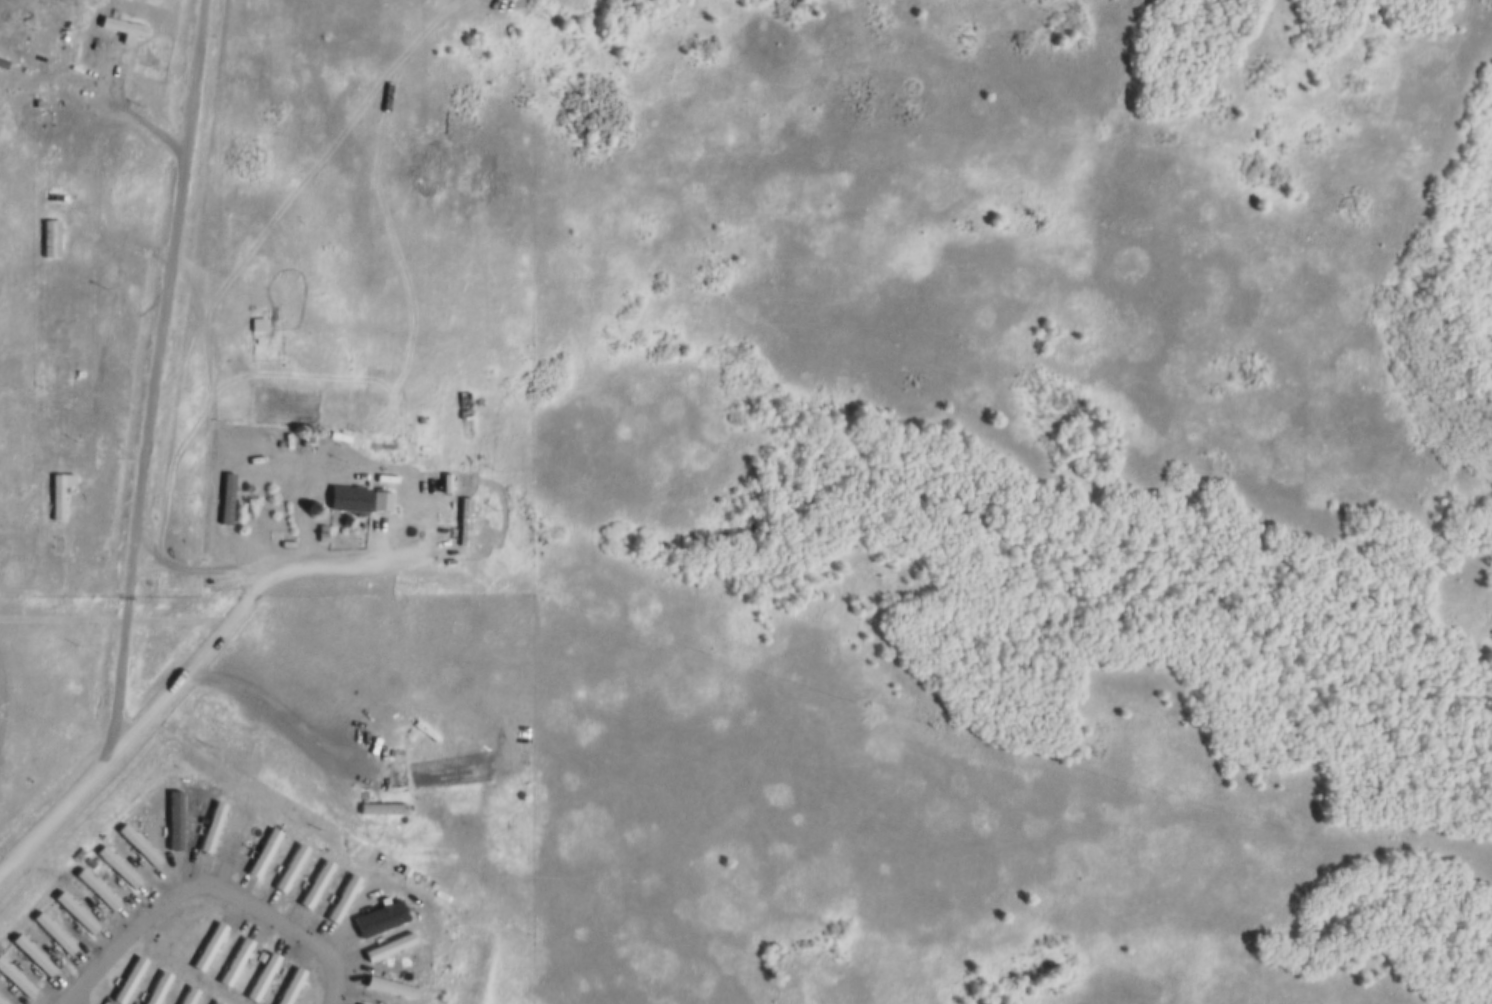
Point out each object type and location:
building: (120, 25)
building: (1, 63)
building: (48, 239)
building: (254, 324)
road: (150, 386)
building: (465, 407)
building: (337, 435)
building: (379, 445)
building: (384, 477)
building: (57, 492)
building: (347, 496)
building: (379, 500)
building: (462, 520)
road: (236, 619)
road: (120, 624)
building: (379, 809)
building: (173, 817)
building: (209, 825)
road: (52, 827)
building: (137, 845)
building: (260, 852)
building: (115, 867)
building: (287, 867)
building: (312, 883)
building: (94, 891)
building: (339, 899)
building: (74, 913)
building: (376, 919)
building: (52, 933)
building: (386, 947)
building: (205, 948)
building: (30, 956)
building: (231, 963)
building: (258, 978)
building: (126, 980)
building: (14, 981)
building: (287, 986)
building: (155, 988)
building: (388, 988)
building: (186, 996)
building: (1, 1002)
building: (214, 1002)
building: (359, 1003)

